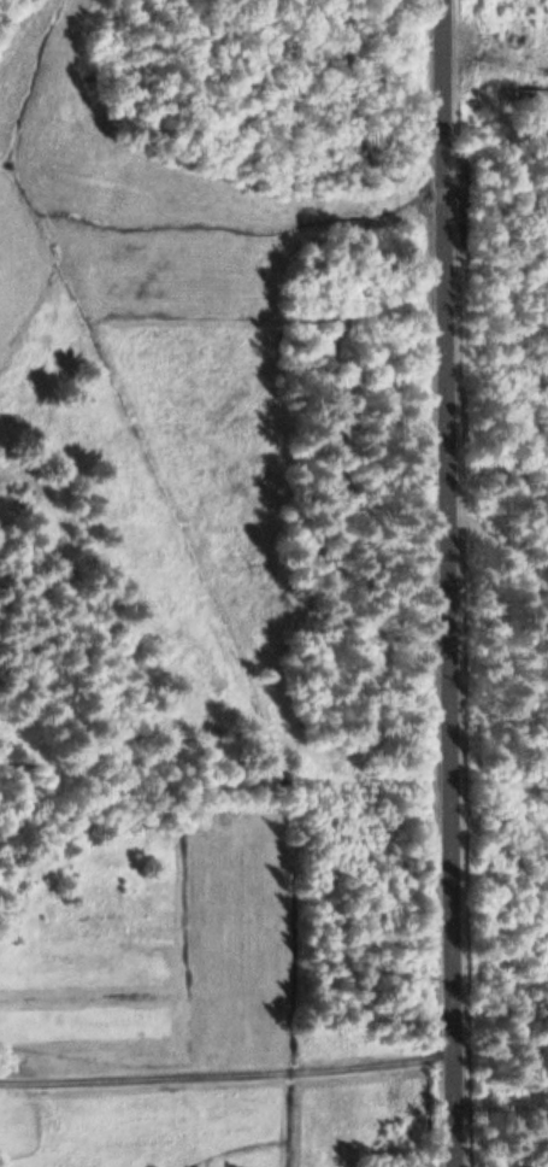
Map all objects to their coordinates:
building: (526, 93)
road: (446, 583)
road: (225, 1075)

